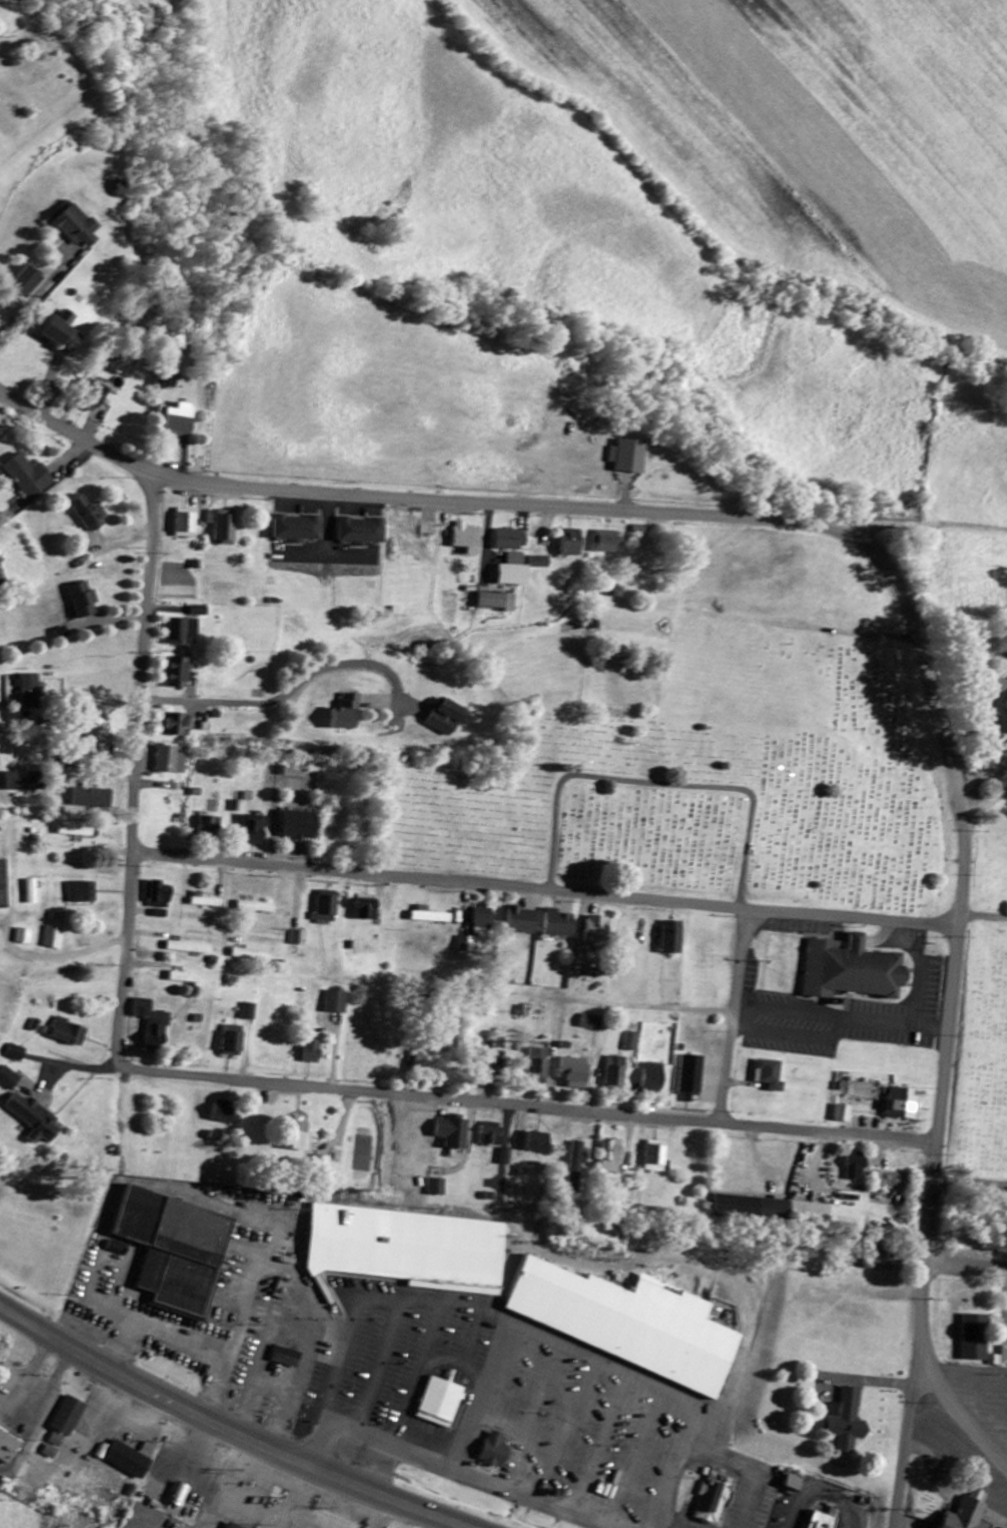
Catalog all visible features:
building: (77, 227)
building: (30, 284)
building: (69, 318)
building: (64, 335)
building: (170, 384)
building: (97, 399)
building: (182, 422)
road: (75, 434)
building: (630, 457)
building: (30, 477)
building: (89, 514)
building: (185, 525)
building: (225, 528)
building: (297, 530)
building: (361, 531)
road: (943, 534)
building: (467, 539)
building: (511, 540)
building: (607, 543)
building: (573, 544)
building: (542, 563)
building: (514, 572)
building: (2, 576)
building: (82, 601)
building: (499, 603)
building: (200, 612)
building: (183, 633)
road: (923, 658)
building: (179, 674)
building: (32, 693)
building: (1005, 706)
building: (350, 714)
building: (450, 718)
building: (177, 725)
building: (100, 735)
building: (173, 761)
road: (138, 771)
building: (26, 783)
road: (659, 785)
building: (93, 799)
park: (707, 806)
building: (212, 826)
building: (302, 827)
building: (255, 831)
building: (78, 833)
building: (3, 887)
road: (547, 888)
building: (82, 894)
building: (158, 897)
building: (204, 902)
building: (327, 907)
building: (256, 908)
building: (367, 908)
road: (985, 915)
building: (429, 917)
road: (6, 920)
building: (522, 922)
building: (482, 924)
building: (558, 925)
building: (596, 932)
building: (22, 937)
building: (52, 939)
building: (298, 939)
building: (674, 939)
building: (188, 949)
building: (468, 952)
road: (924, 968)
building: (848, 969)
building: (184, 979)
building: (337, 1003)
road: (599, 1005)
building: (248, 1012)
road: (791, 1013)
park: (979, 1013)
road: (740, 1016)
building: (595, 1023)
road: (884, 1025)
building: (153, 1026)
building: (67, 1034)
road: (788, 1036)
building: (635, 1043)
building: (232, 1046)
building: (311, 1053)
building: (15, 1054)
building: (429, 1059)
building: (543, 1063)
building: (502, 1065)
building: (580, 1073)
building: (620, 1073)
building: (774, 1076)
building: (658, 1079)
building: (696, 1079)
building: (8, 1080)
building: (904, 1105)
road: (532, 1107)
building: (226, 1114)
building: (846, 1115)
building: (34, 1120)
building: (460, 1134)
building: (499, 1135)
building: (299, 1136)
building: (545, 1144)
building: (513, 1158)
building: (616, 1158)
building: (660, 1158)
building: (581, 1167)
building: (859, 1168)
road: (971, 1181)
building: (444, 1189)
building: (782, 1212)
building: (407, 1247)
building: (173, 1248)
building: (887, 1261)
road: (966, 1269)
building: (628, 1322)
building: (977, 1340)
road: (574, 1347)
building: (288, 1359)
building: (999, 1360)
building: (436, 1400)
building: (69, 1418)
building: (846, 1422)
road: (228, 1429)
road: (906, 1437)
building: (54, 1448)
building: (8, 1450)
building: (490, 1450)
building: (130, 1462)
road: (448, 1470)
building: (794, 1484)
road: (820, 1488)
building: (179, 1496)
building: (713, 1499)
building: (966, 1513)
building: (822, 1521)
building: (323, 1523)
building: (229, 1525)

